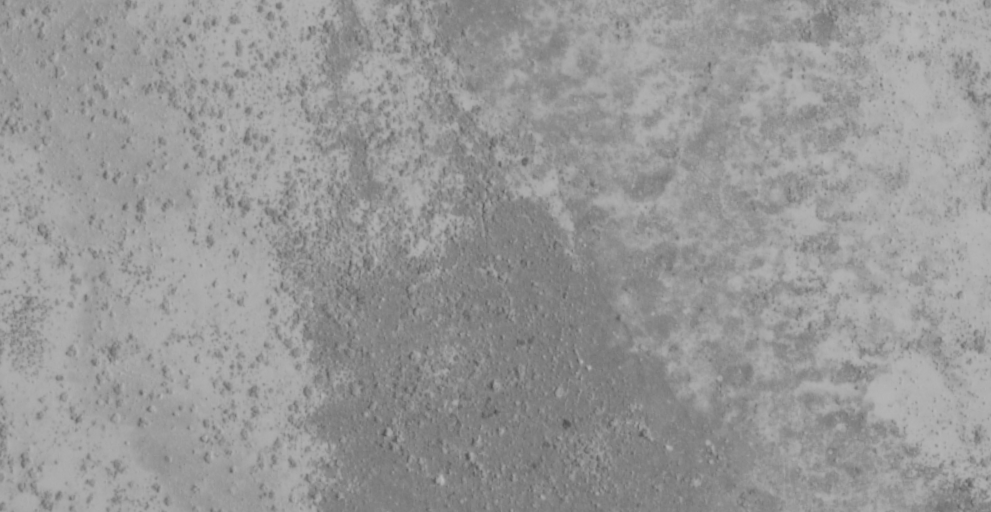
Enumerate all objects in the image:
road: (942, 14)

